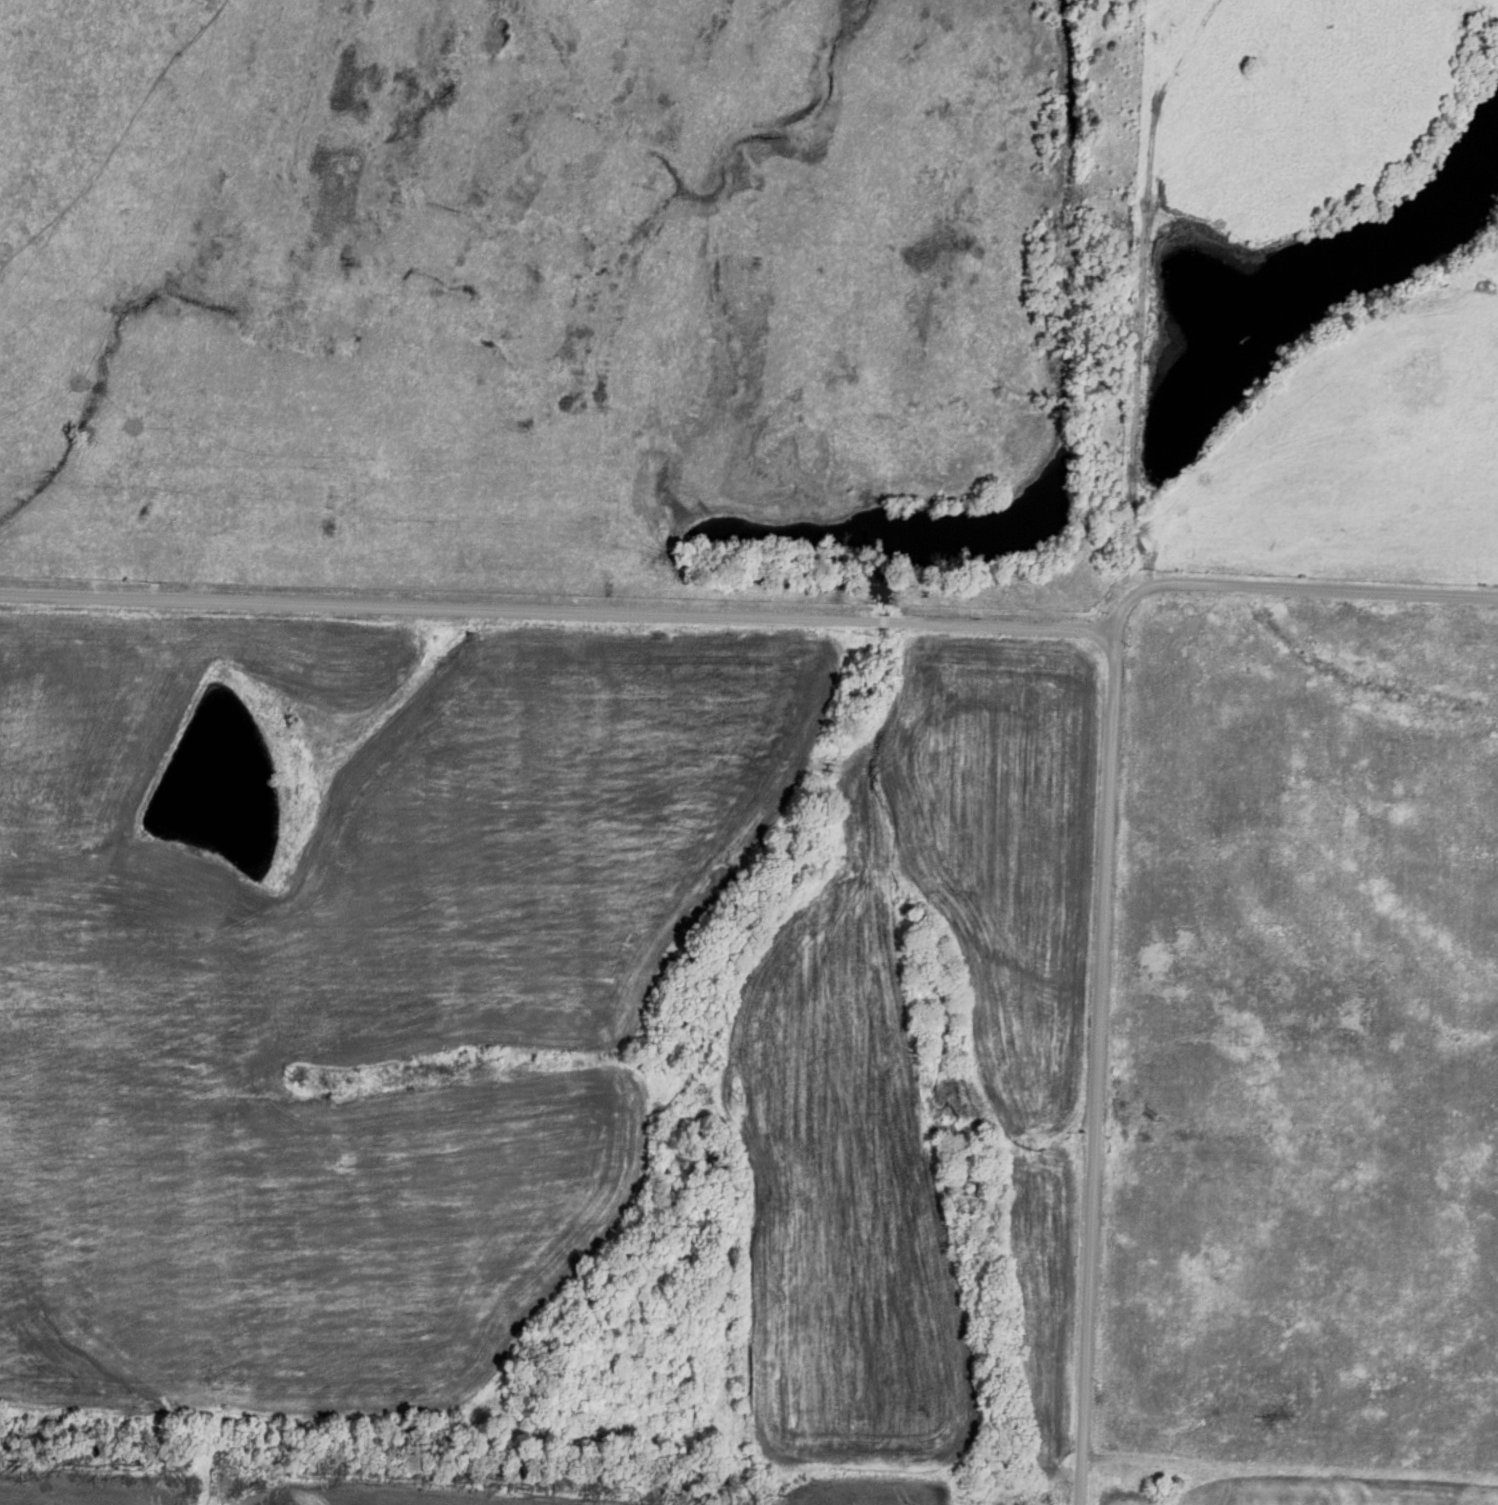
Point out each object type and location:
road: (753, 619)
road: (1102, 1068)

